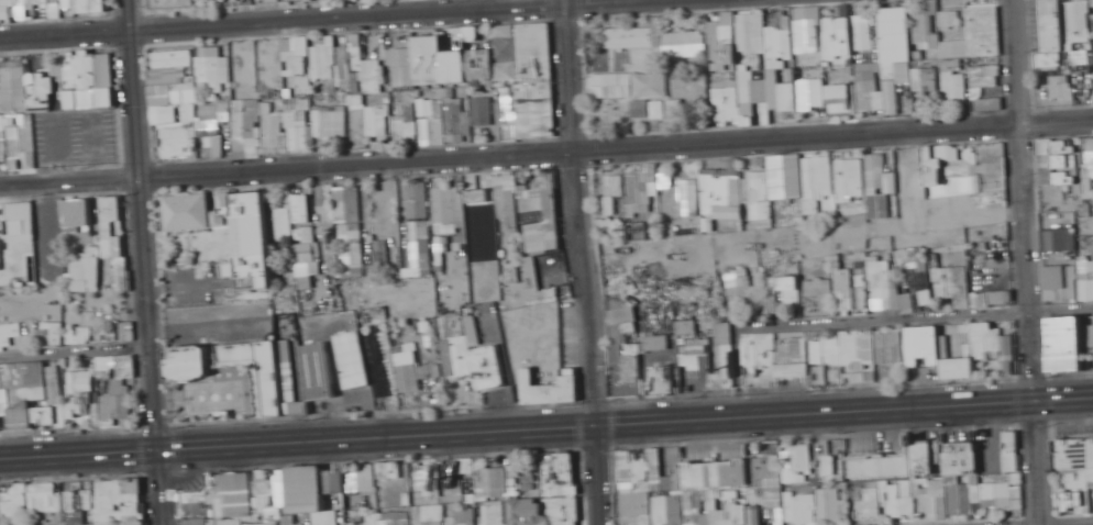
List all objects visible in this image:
road: (143, 225)
road: (583, 261)
road: (1027, 262)

